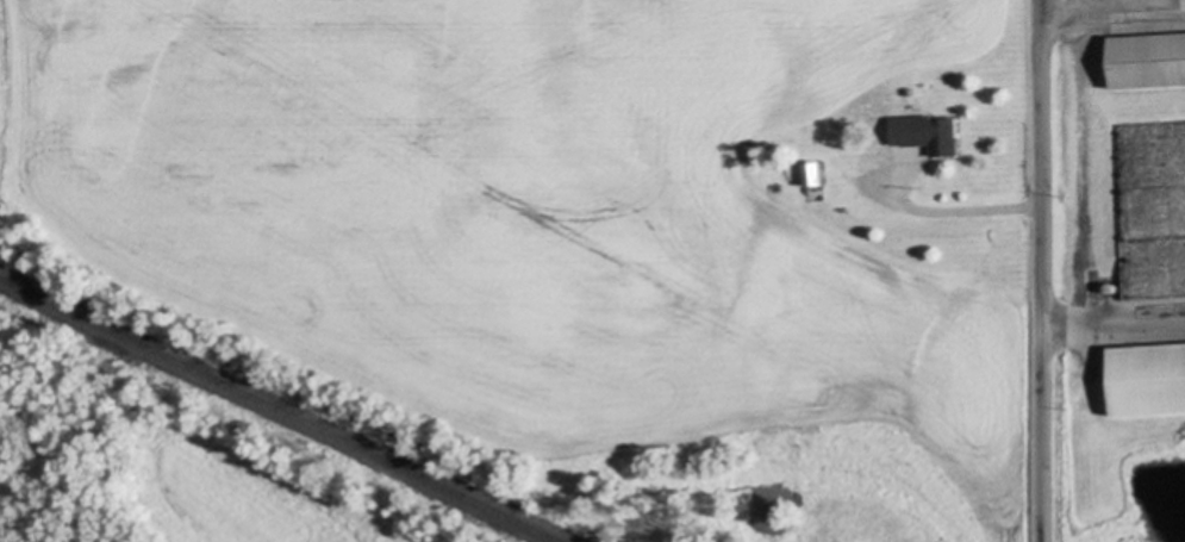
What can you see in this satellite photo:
road: (1115, 14)
building: (1153, 61)
building: (950, 137)
building: (892, 147)
building: (822, 174)
building: (807, 176)
road: (962, 210)
road: (1046, 270)
road: (1115, 322)
building: (1153, 379)
railway: (279, 410)

